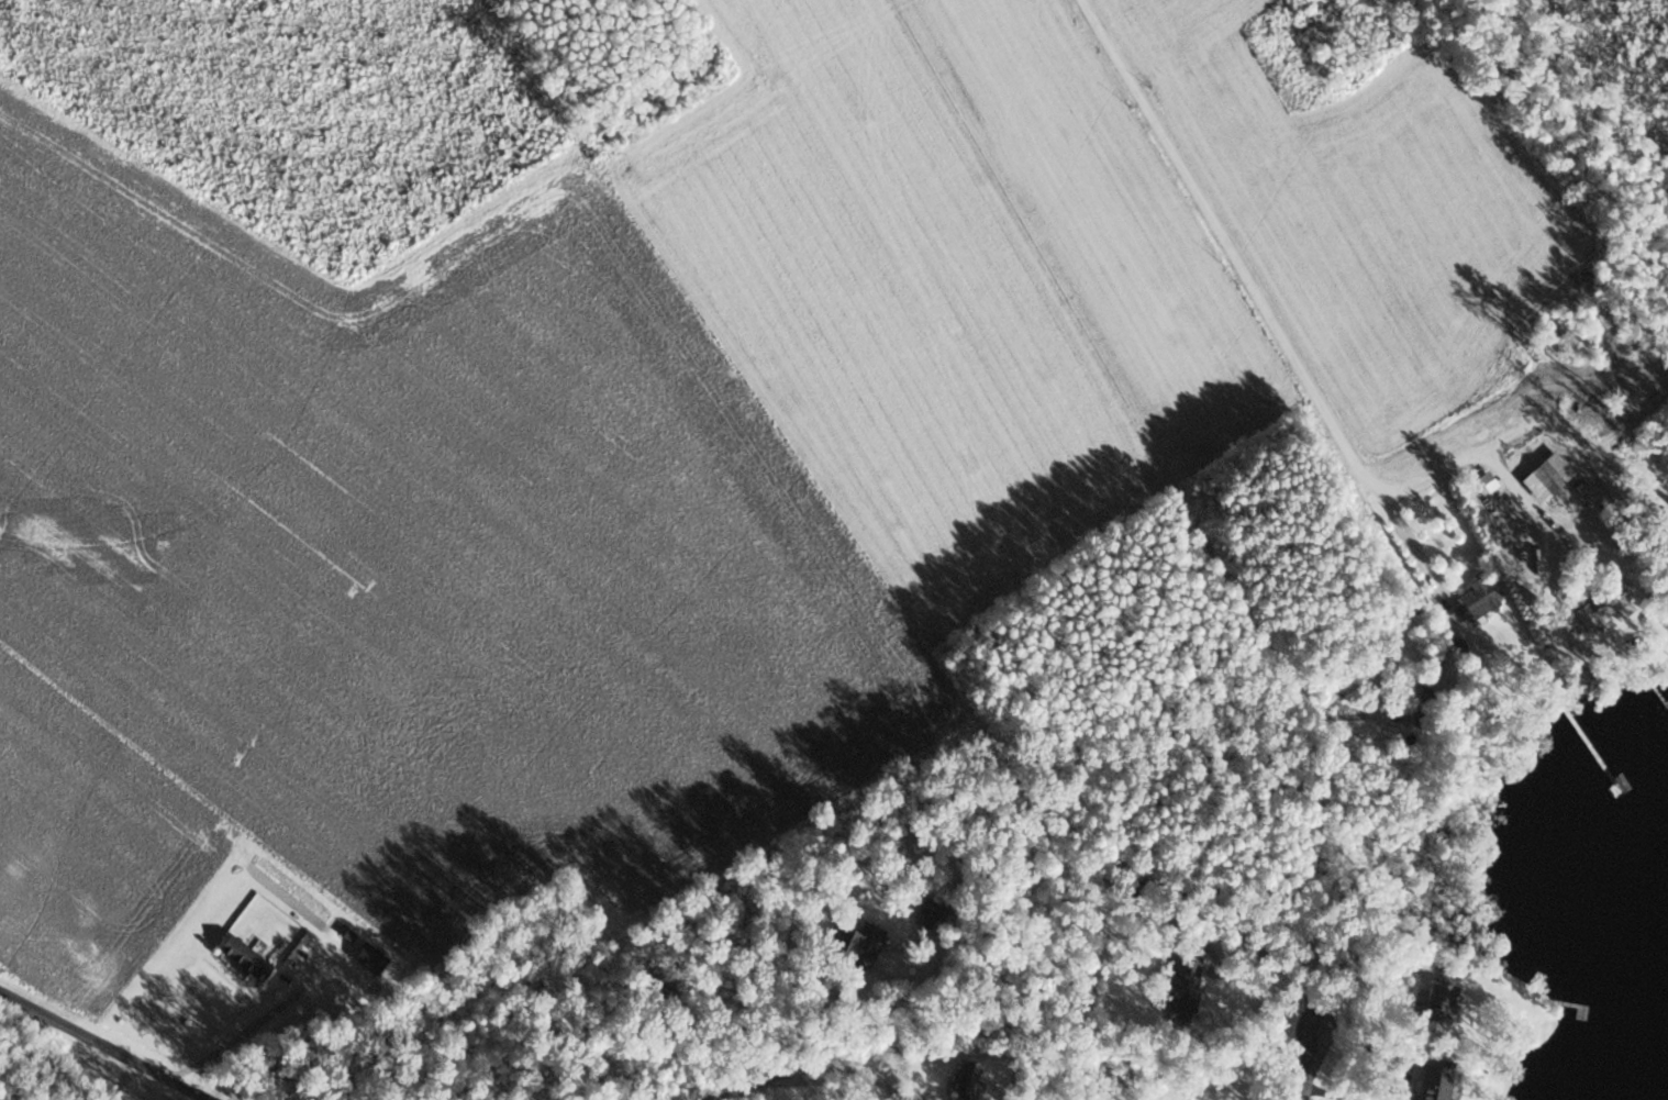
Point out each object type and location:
road: (1277, 327)
building: (1545, 476)
road: (1509, 479)
building: (1666, 484)
road: (1409, 543)
building: (1478, 597)
building: (1602, 605)
building: (855, 947)
building: (241, 957)
road: (889, 1001)
building: (1424, 1013)
road: (122, 1045)
road: (1314, 1065)
road: (789, 1071)
building: (963, 1080)
building: (1435, 1085)

